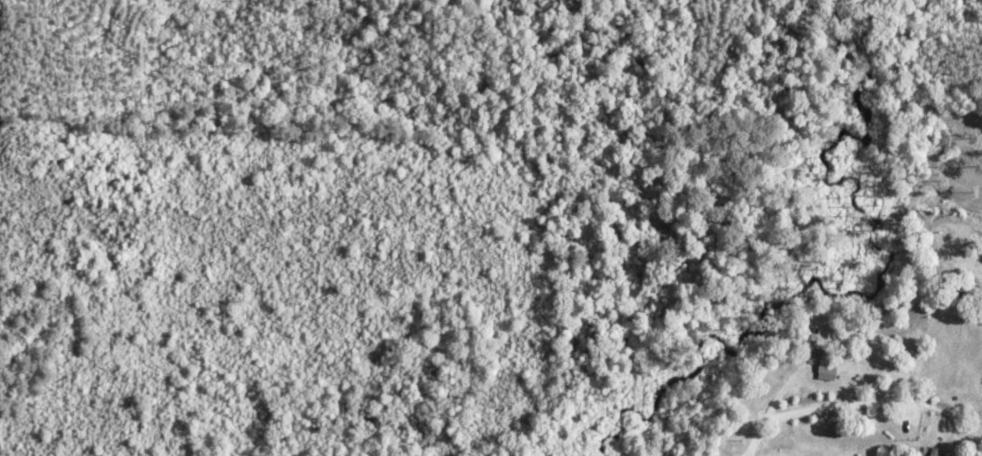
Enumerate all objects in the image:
building: (822, 369)
road: (826, 406)
road: (765, 415)
building: (930, 451)

